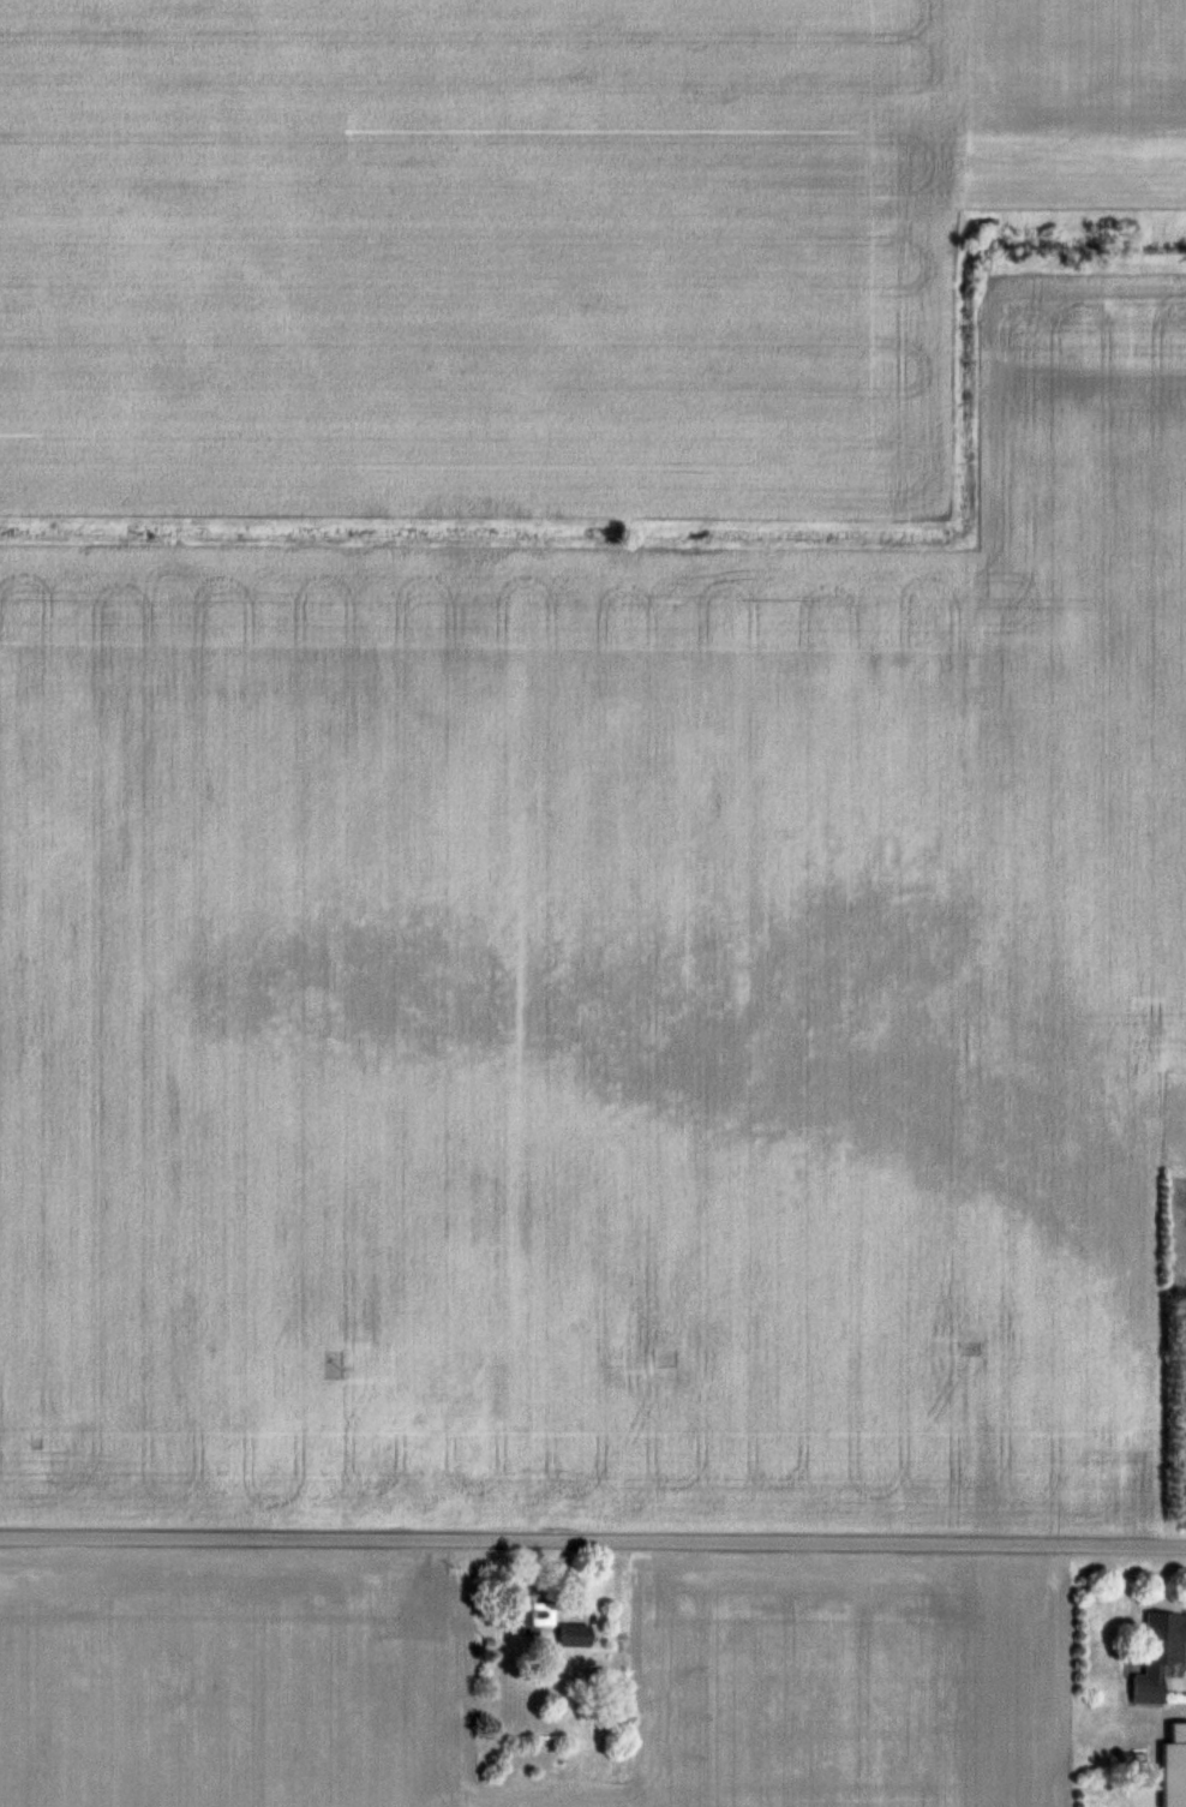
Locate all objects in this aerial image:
road: (593, 1546)
building: (532, 1612)
building: (576, 1634)
building: (1161, 1653)
building: (586, 1722)
building: (1175, 1766)

